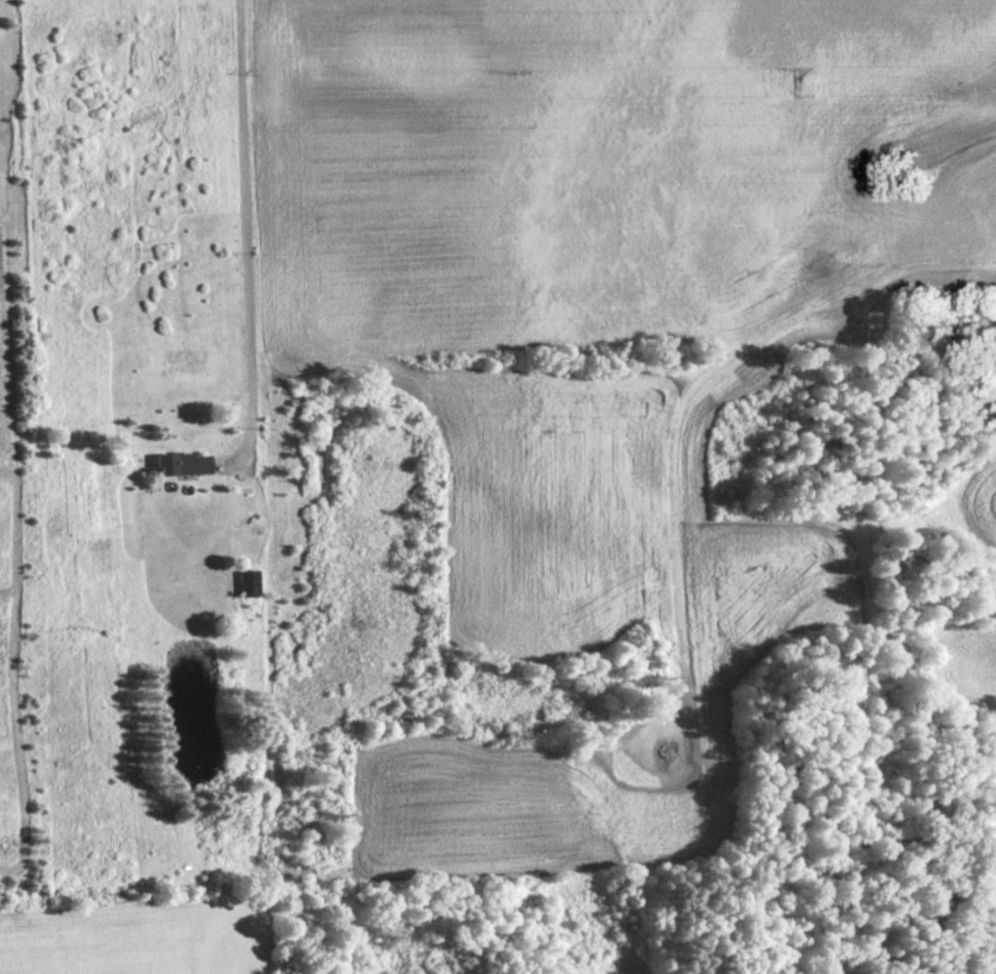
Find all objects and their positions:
building: (182, 463)
building: (247, 582)

